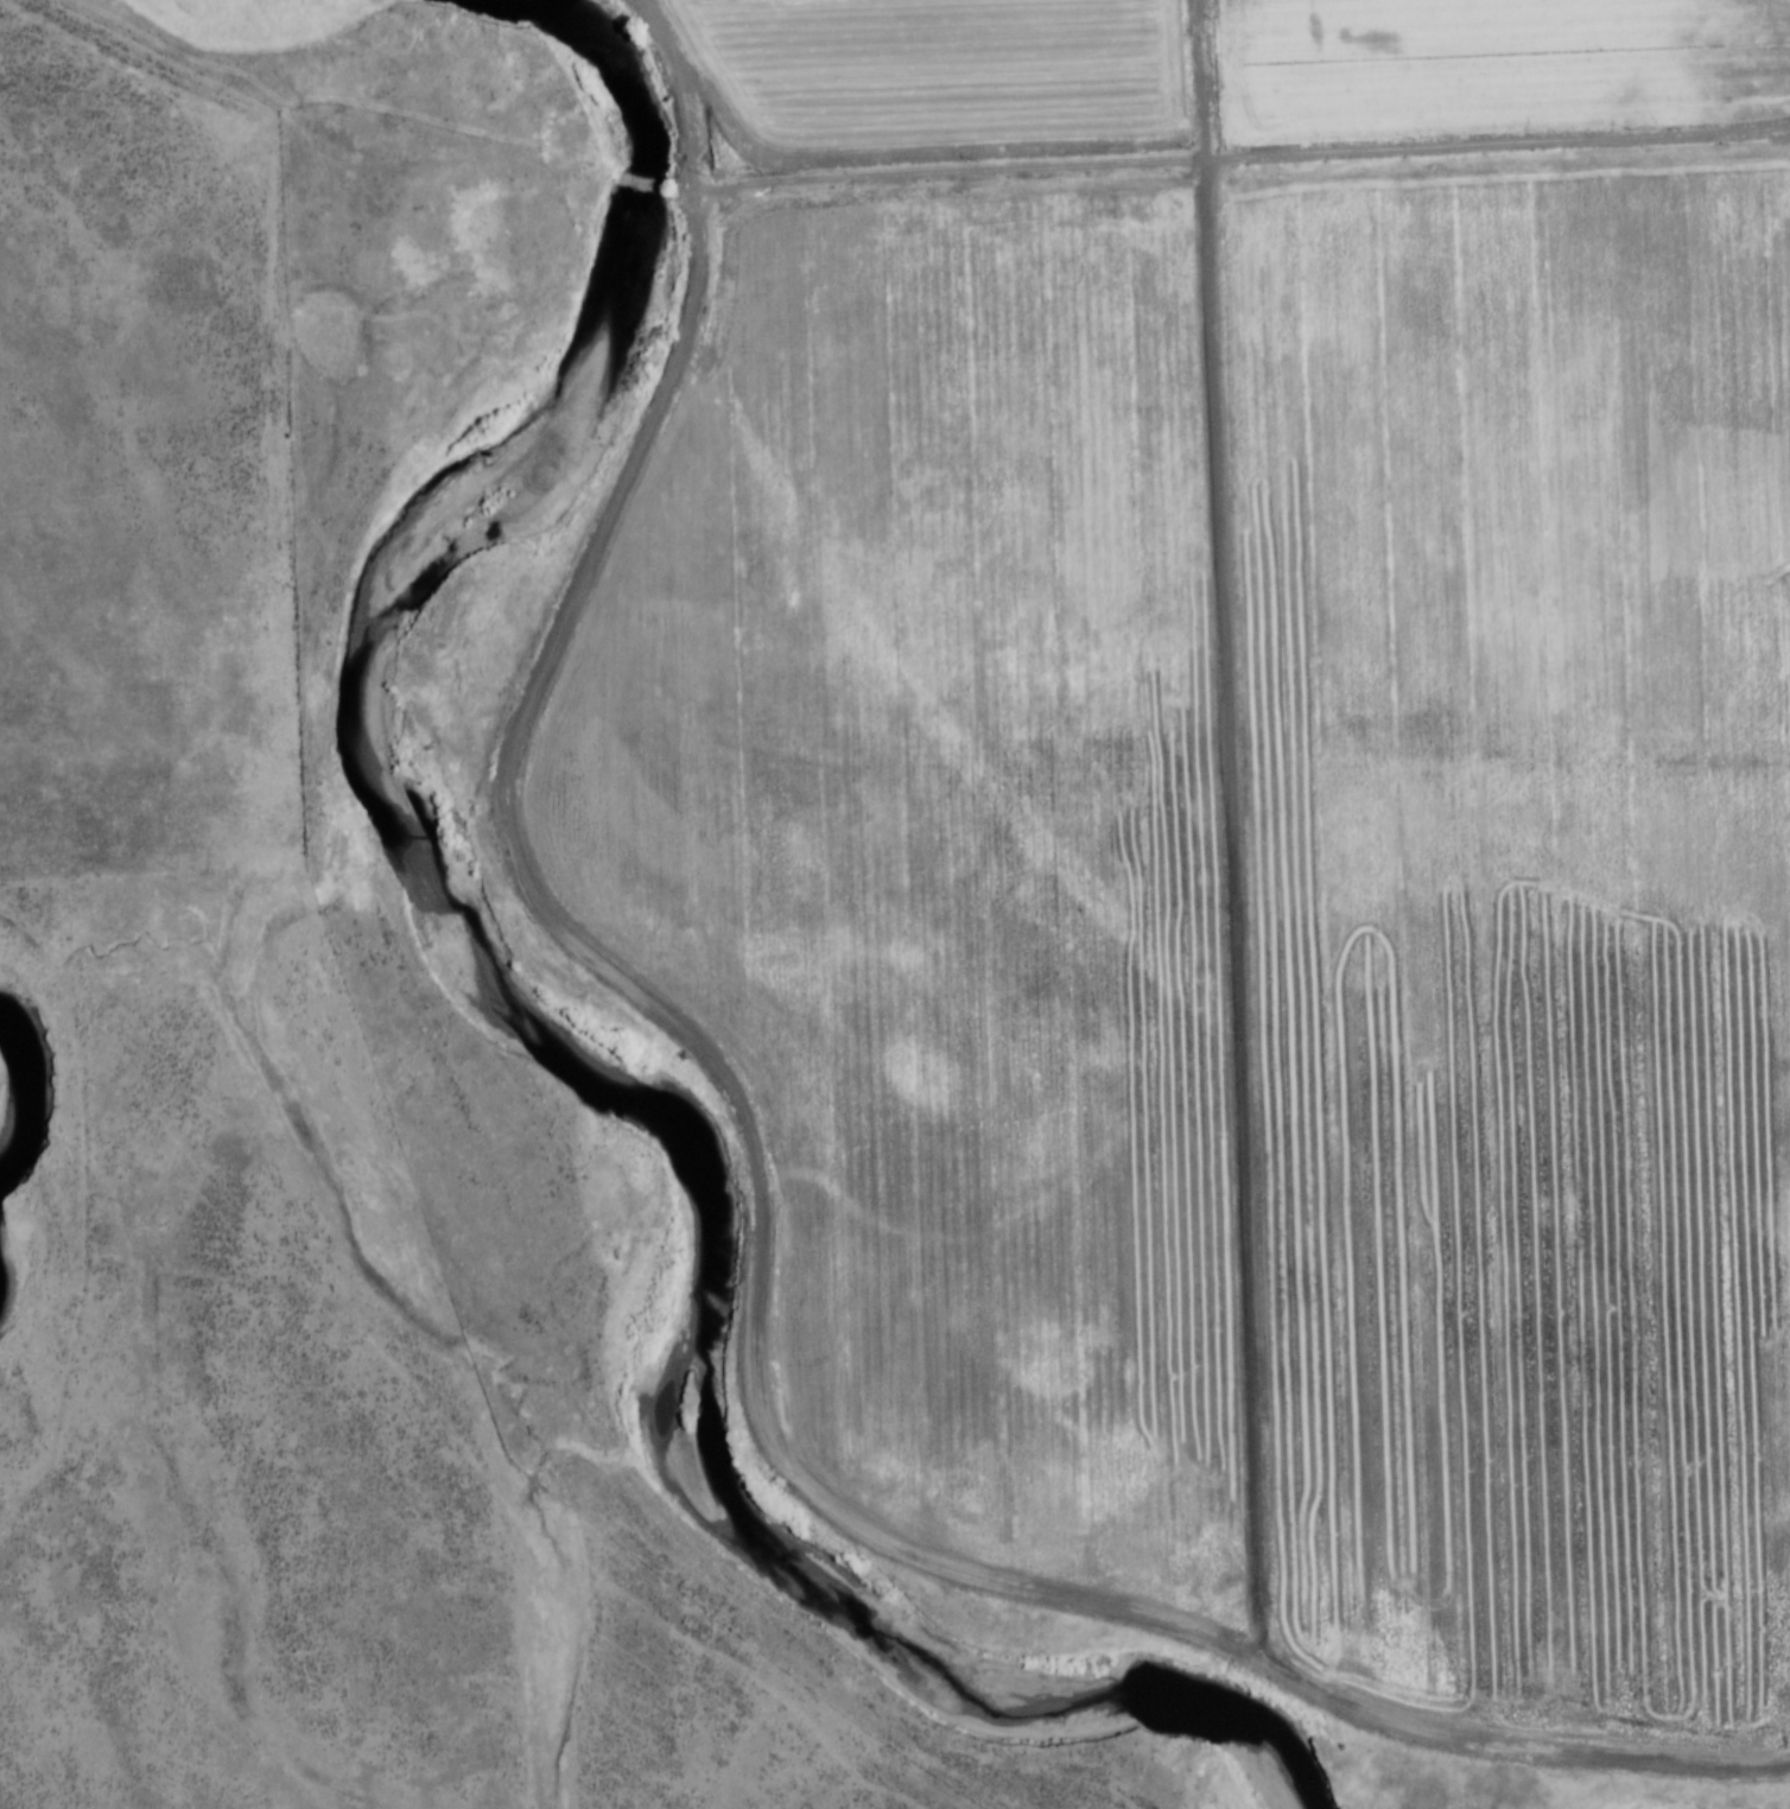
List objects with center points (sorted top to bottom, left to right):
crop: (960, 65)
crop: (1497, 66)
road: (1251, 155)
crop: (964, 849)
crop: (1529, 919)
river: (591, 1039)

